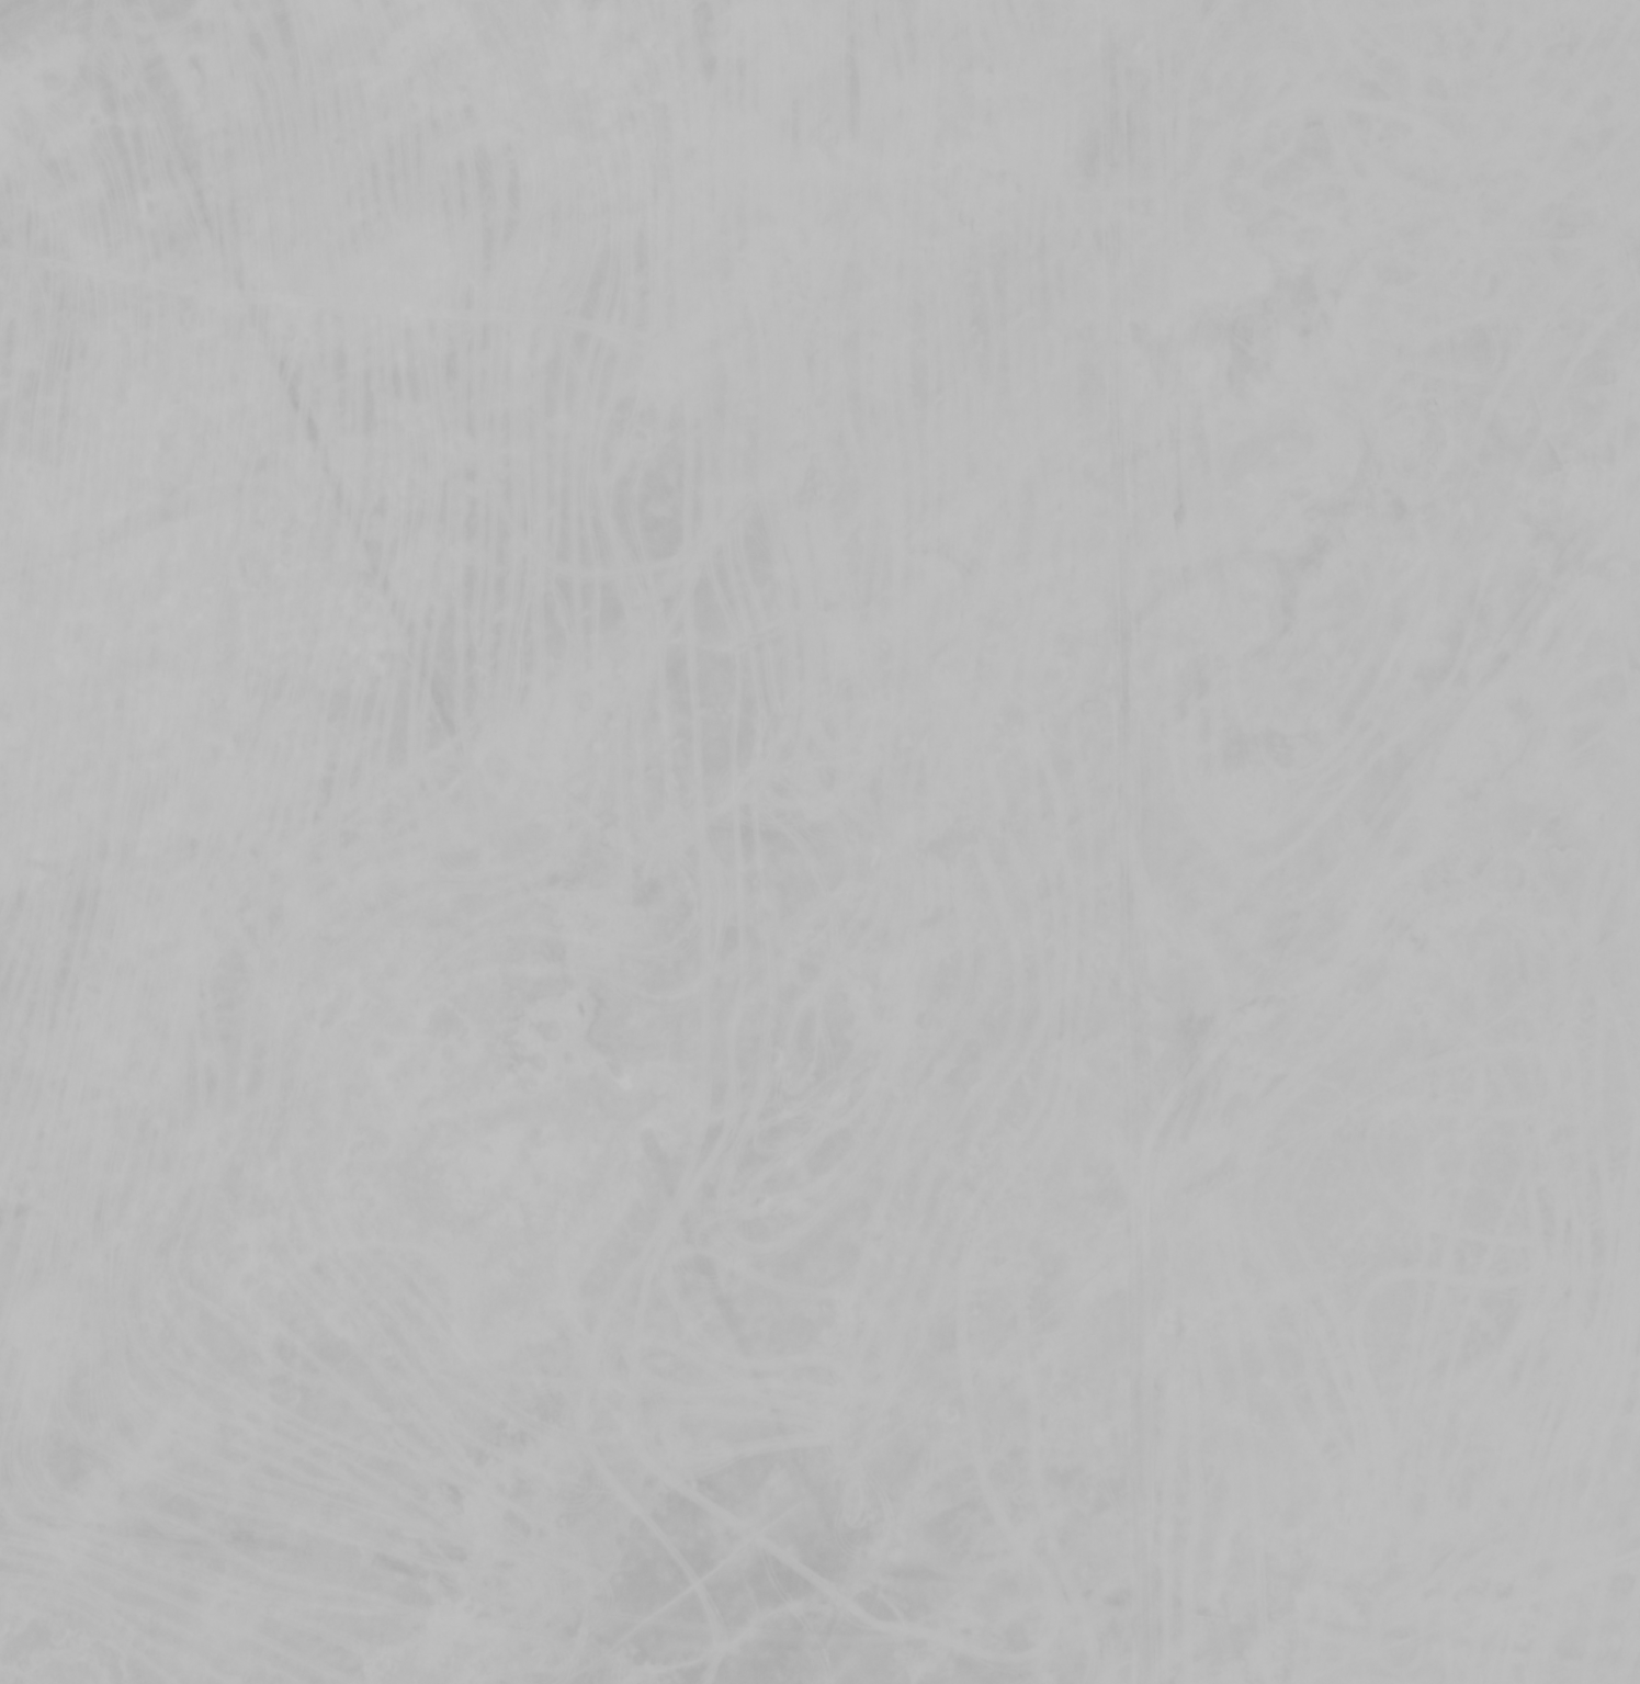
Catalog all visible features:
building: (1460, 147)
building: (1394, 206)
building: (676, 405)
building: (63, 485)
building: (30, 838)
road: (1132, 841)
building: (1505, 1232)

